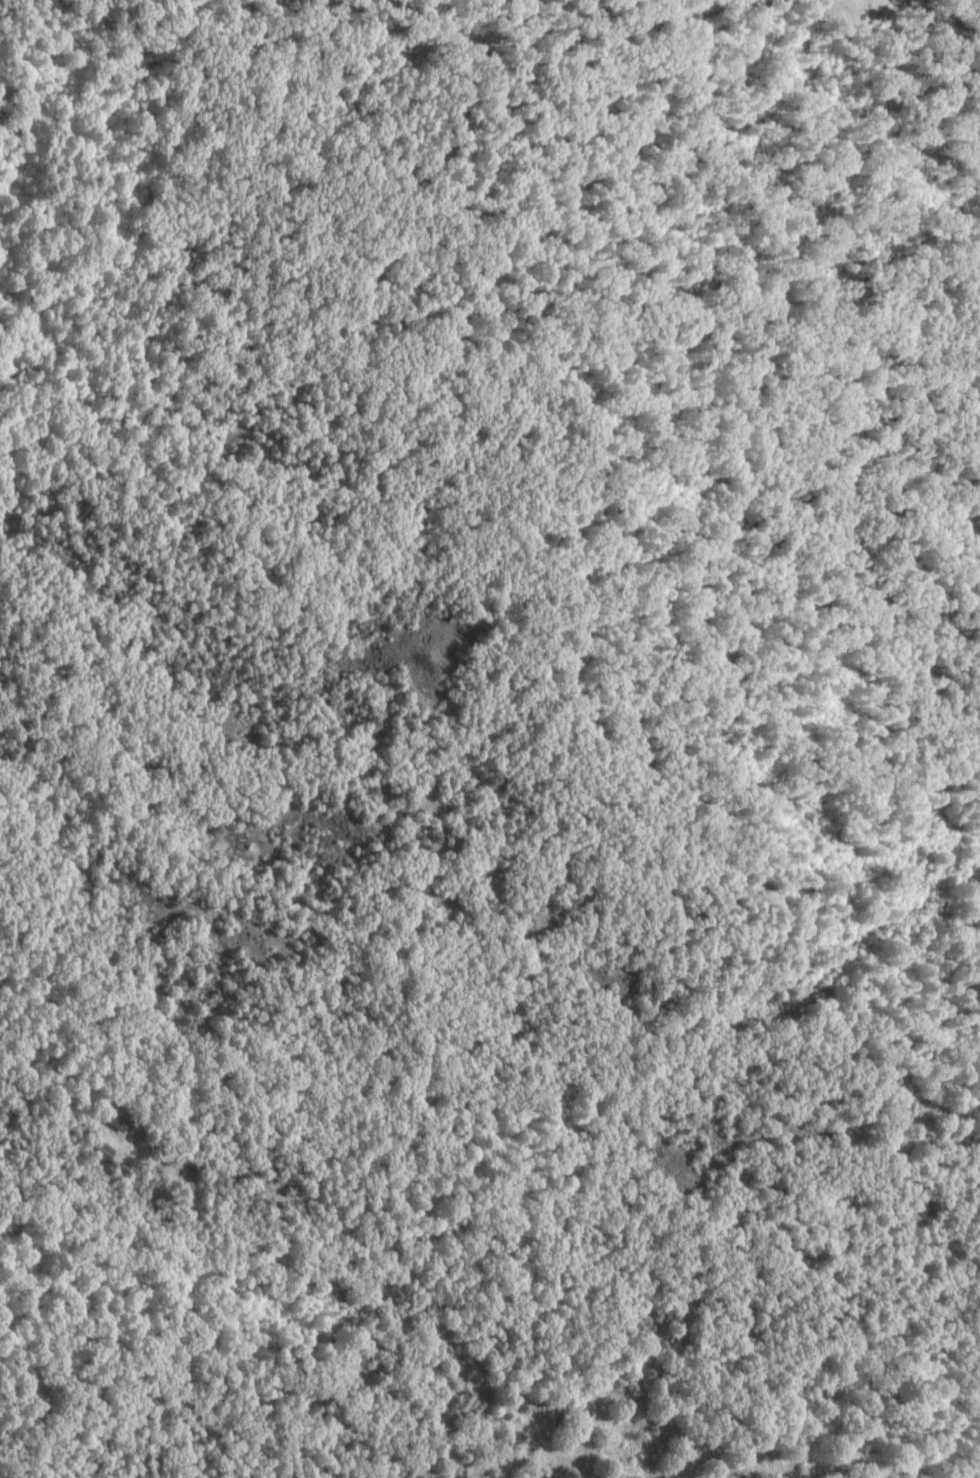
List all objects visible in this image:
building: (118, 1123)
building: (103, 1153)

